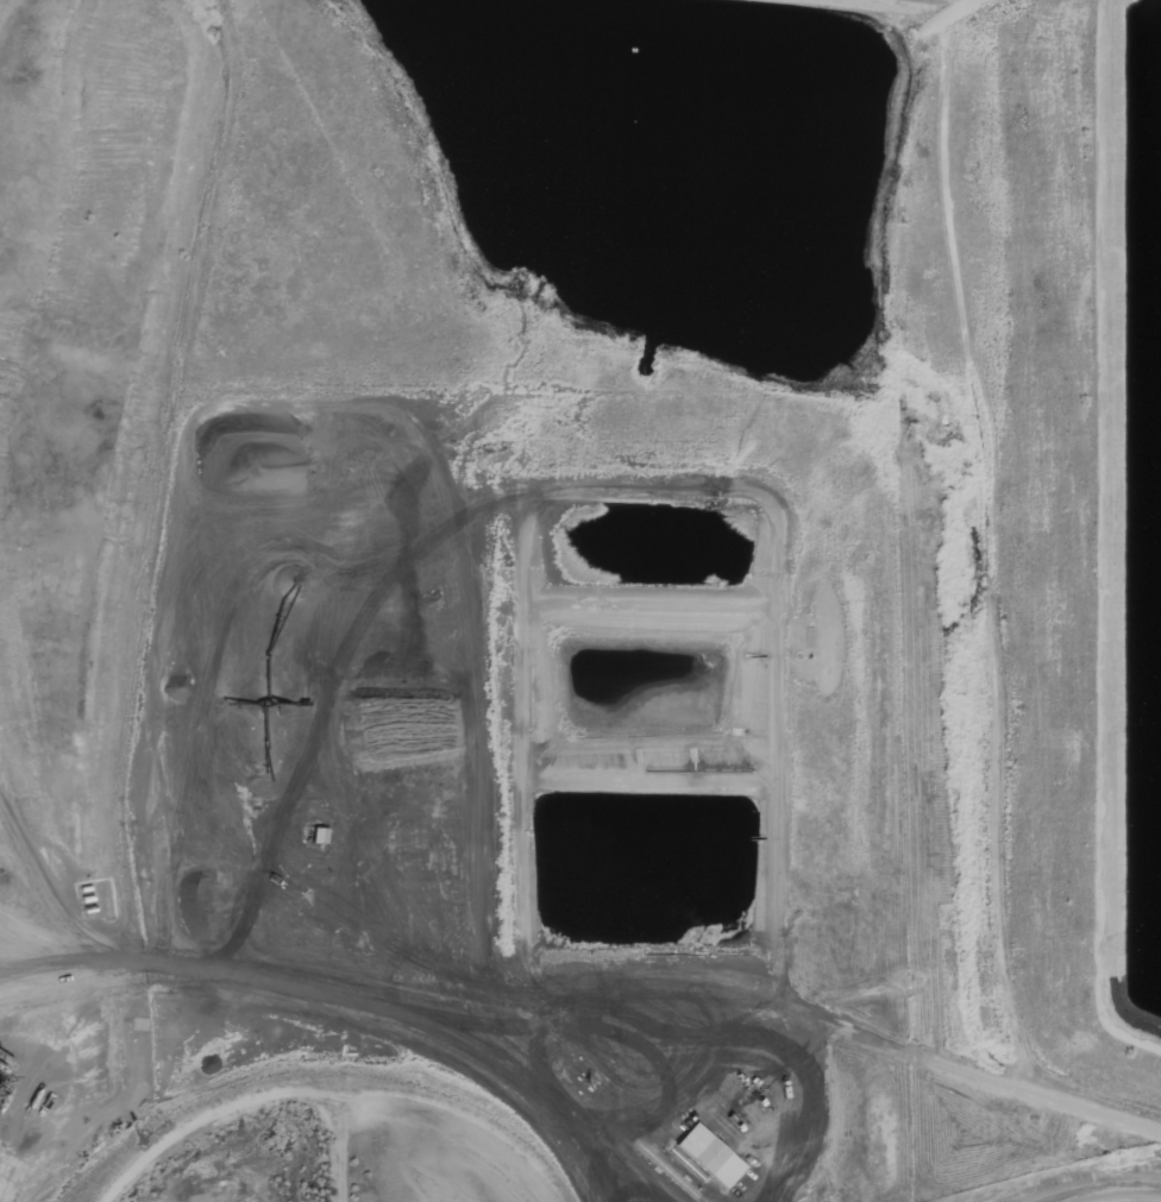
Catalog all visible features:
power plant: (580, 600)
building: (319, 835)
building: (709, 1154)

